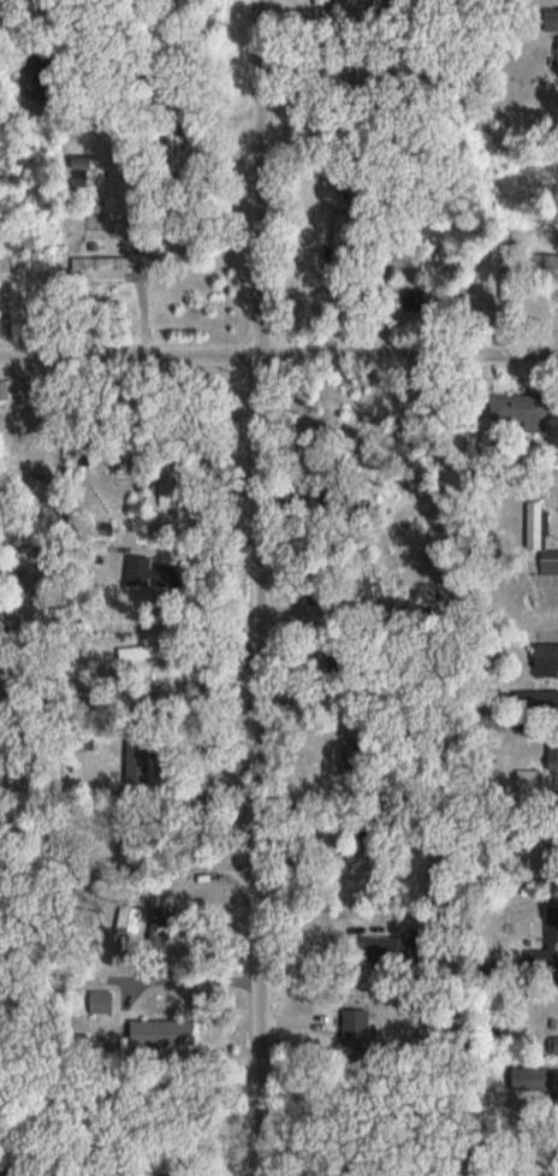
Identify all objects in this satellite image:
building: (551, 19)
road: (265, 173)
building: (37, 264)
building: (102, 267)
road: (278, 348)
building: (524, 409)
building: (20, 421)
building: (172, 495)
building: (153, 565)
building: (554, 757)
road: (267, 762)
building: (532, 781)
building: (553, 928)
building: (358, 1027)
building: (166, 1033)
building: (557, 1042)

